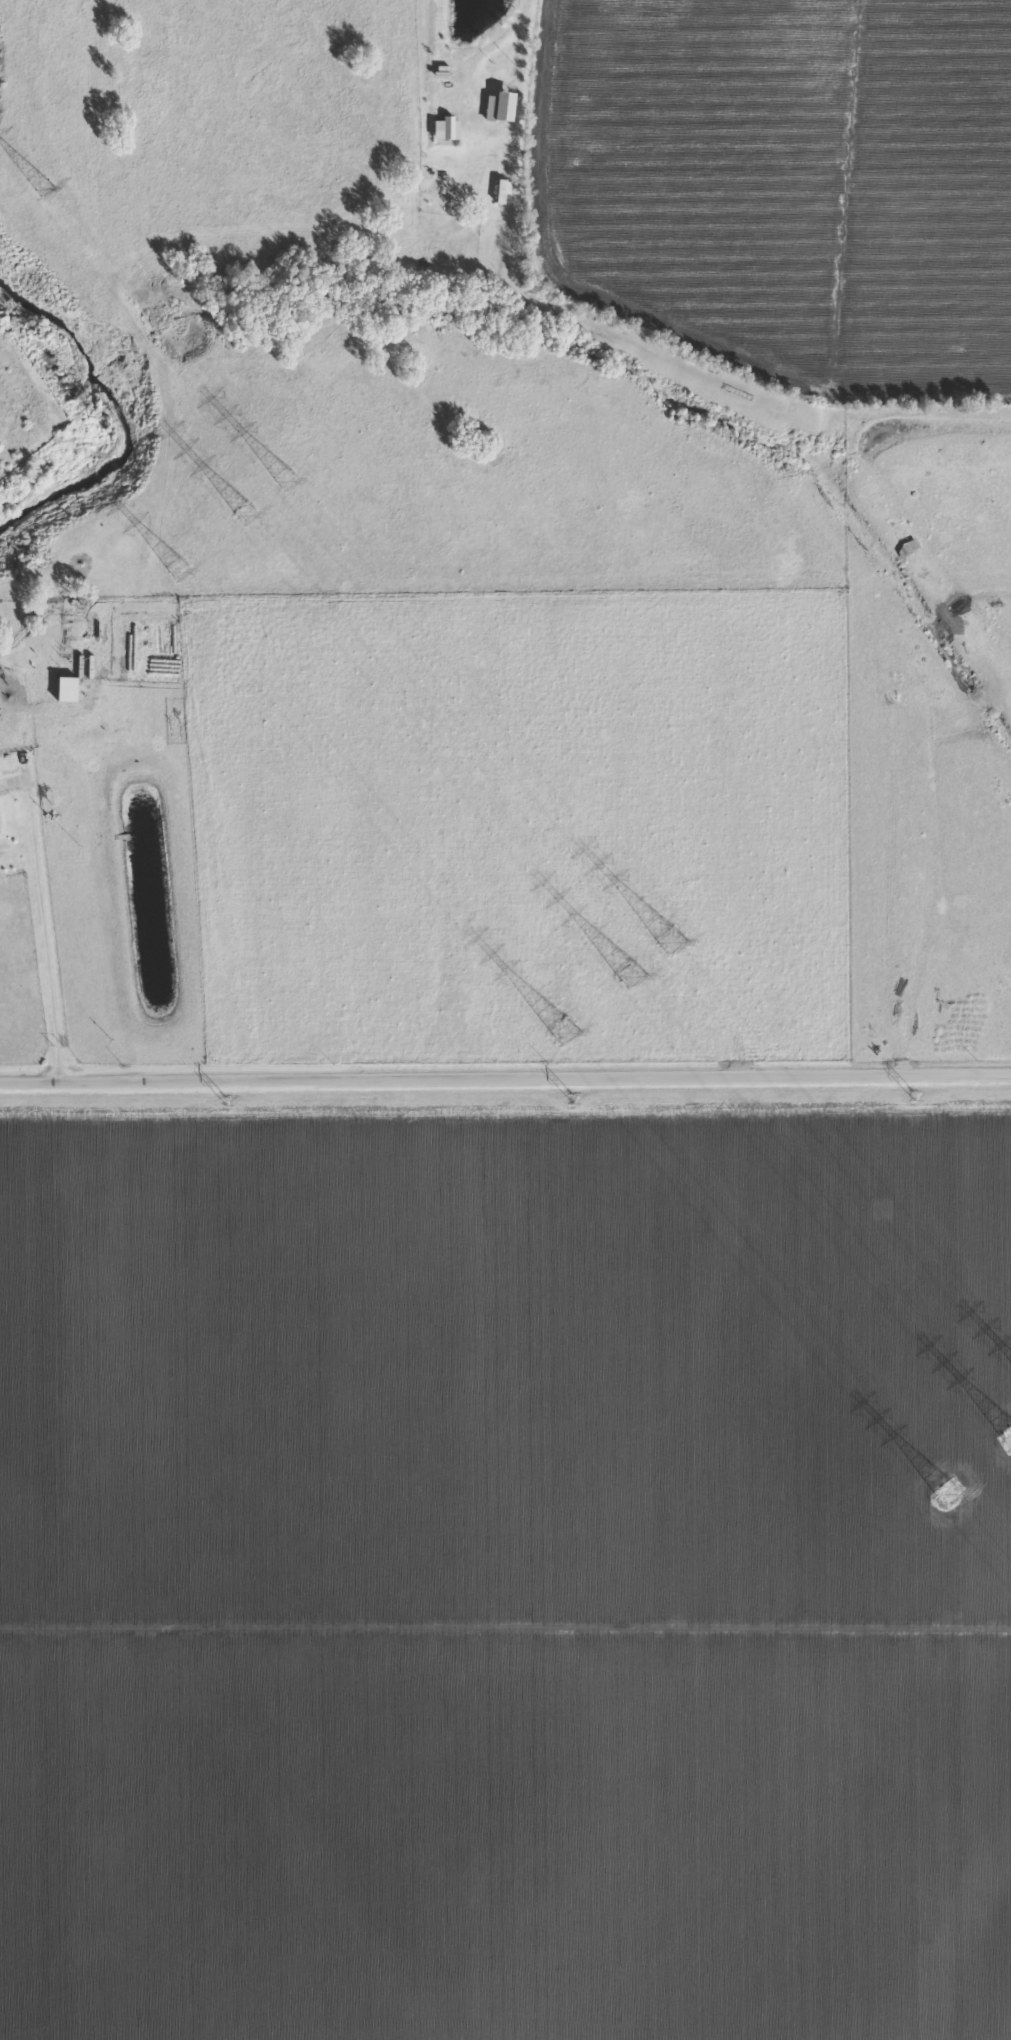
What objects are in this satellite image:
building: (498, 108)
building: (445, 130)
building: (501, 192)
river: (96, 410)
power tower: (286, 482)
power tower: (248, 515)
power tower: (179, 573)
building: (65, 690)
power tower: (670, 943)
power tower: (629, 978)
power tower: (562, 1032)
road: (505, 1082)
power tower: (911, 1098)
power tower: (571, 1100)
power tower: (225, 1103)
power tower: (945, 1494)

